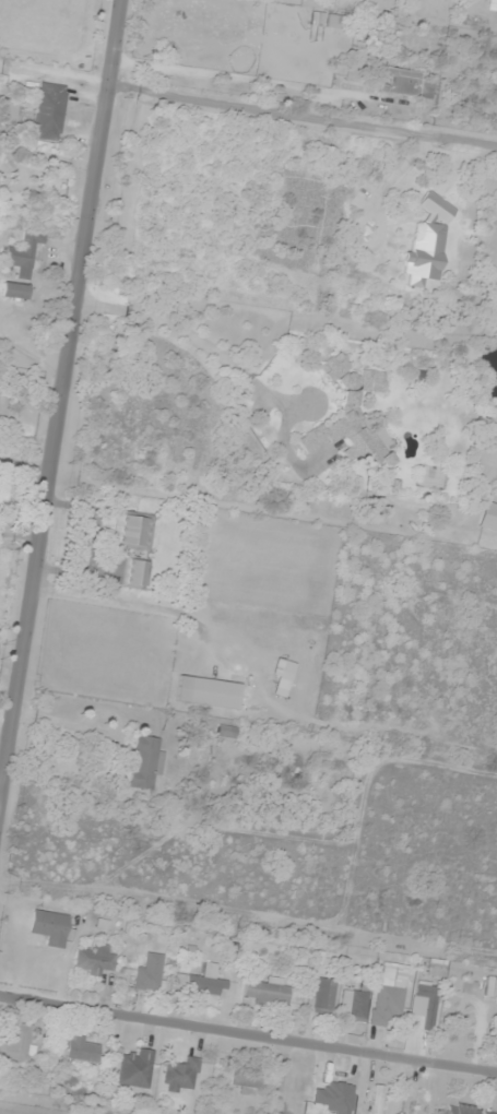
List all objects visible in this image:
building: (492, 5)
building: (333, 22)
road: (268, 83)
building: (410, 85)
building: (51, 112)
road: (303, 112)
building: (477, 198)
building: (22, 257)
building: (14, 292)
road: (200, 347)
building: (350, 417)
road: (62, 453)
road: (277, 511)
building: (489, 515)
building: (133, 532)
building: (134, 573)
building: (283, 676)
building: (208, 692)
building: (226, 732)
building: (145, 765)
building: (50, 928)
building: (95, 959)
building: (437, 968)
building: (151, 973)
building: (206, 984)
building: (268, 992)
building: (390, 994)
building: (324, 996)
building: (424, 1007)
road: (248, 1029)
building: (19, 1044)
building: (80, 1048)
building: (137, 1069)
building: (181, 1076)
building: (253, 1079)
building: (335, 1097)
building: (375, 1098)
building: (422, 1102)
building: (465, 1111)

